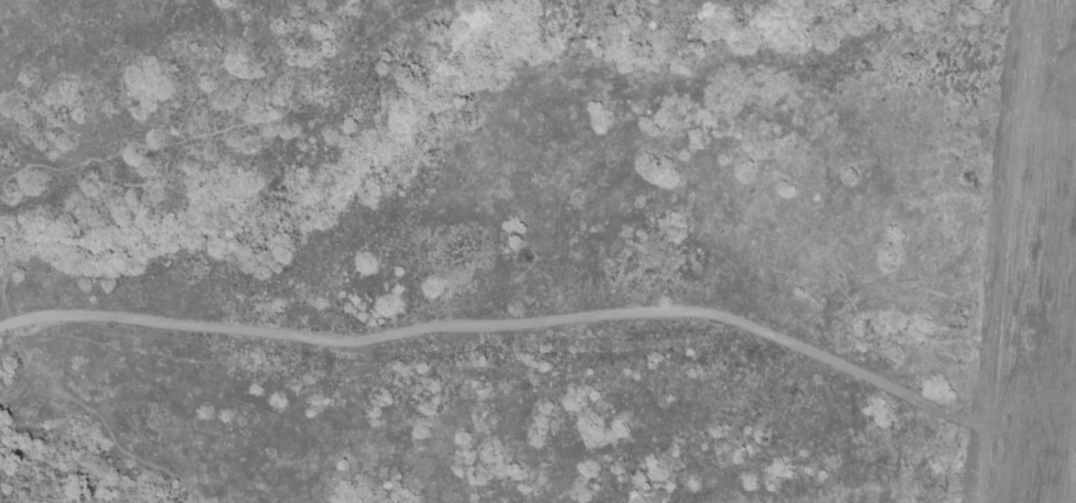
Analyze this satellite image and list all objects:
road: (1002, 251)

